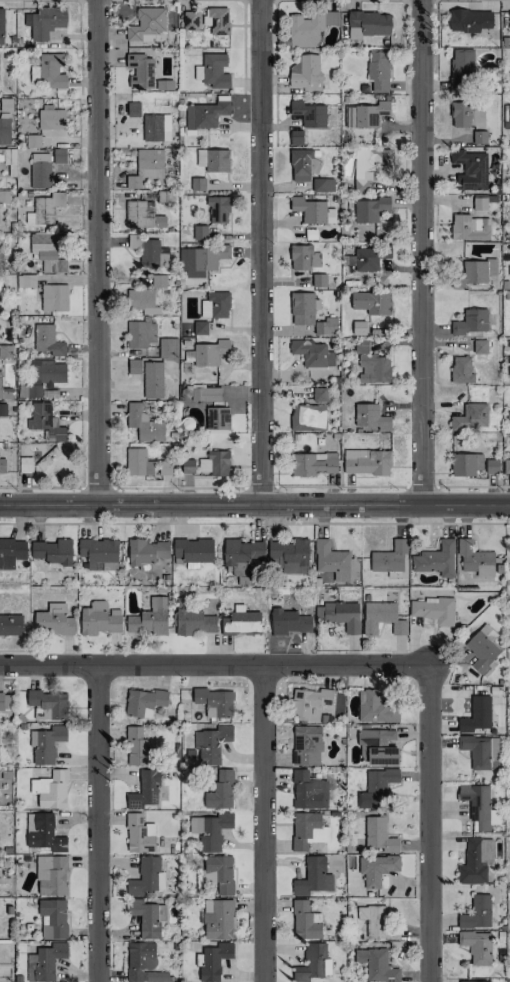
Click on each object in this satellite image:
road: (435, 3)
building: (190, 20)
building: (217, 20)
building: (470, 20)
building: (509, 20)
building: (45, 21)
building: (147, 24)
building: (368, 24)
building: (1, 26)
building: (309, 28)
building: (140, 70)
building: (379, 70)
building: (461, 70)
building: (51, 71)
building: (212, 71)
building: (305, 72)
building: (164, 84)
building: (6, 105)
building: (133, 109)
building: (206, 113)
building: (309, 113)
building: (368, 113)
building: (459, 113)
building: (507, 116)
building: (51, 119)
building: (156, 127)
building: (4, 130)
building: (296, 137)
building: (479, 137)
building: (33, 141)
building: (59, 155)
building: (213, 160)
building: (303, 164)
building: (146, 167)
building: (369, 167)
building: (470, 169)
building: (40, 170)
building: (198, 184)
building: (323, 185)
building: (5, 196)
building: (479, 202)
building: (44, 208)
building: (218, 209)
building: (369, 209)
building: (312, 210)
building: (142, 214)
building: (469, 227)
building: (199, 232)
road: (419, 251)
building: (47, 252)
road: (97, 252)
road: (255, 252)
building: (151, 254)
building: (210, 257)
building: (369, 258)
building: (303, 259)
building: (509, 268)
building: (478, 270)
building: (25, 280)
building: (319, 280)
building: (157, 281)
building: (54, 297)
building: (140, 301)
building: (371, 302)
building: (215, 305)
building: (309, 314)
building: (470, 322)
building: (358, 327)
building: (200, 328)
building: (140, 334)
building: (47, 339)
building: (480, 346)
building: (168, 347)
building: (5, 351)
building: (209, 352)
building: (312, 353)
building: (372, 365)
building: (134, 366)
building: (508, 368)
building: (461, 369)
building: (44, 375)
building: (153, 380)
building: (22, 390)
building: (205, 393)
building: (319, 394)
building: (508, 415)
building: (370, 416)
building: (471, 416)
building: (308, 417)
building: (217, 419)
building: (45, 421)
building: (143, 423)
building: (51, 462)
building: (366, 462)
building: (144, 463)
building: (219, 463)
building: (313, 463)
building: (25, 464)
building: (472, 464)
building: (204, 465)
building: (2, 466)
building: (506, 466)
building: (187, 467)
road: (260, 486)
road: (341, 486)
road: (422, 486)
road: (474, 486)
road: (41, 487)
road: (98, 487)
road: (179, 487)
road: (255, 504)
road: (255, 523)
building: (147, 550)
building: (192, 550)
building: (52, 551)
building: (11, 552)
building: (99, 554)
building: (240, 555)
building: (289, 555)
building: (390, 559)
building: (435, 559)
building: (475, 559)
building: (331, 560)
building: (433, 611)
building: (343, 615)
building: (99, 618)
building: (149, 618)
building: (381, 618)
building: (54, 620)
building: (195, 622)
building: (241, 622)
building: (289, 622)
building: (11, 624)
building: (483, 649)
road: (214, 666)
building: (5, 700)
building: (48, 702)
building: (143, 702)
building: (214, 702)
building: (309, 703)
building: (375, 708)
building: (476, 715)
building: (211, 743)
building: (46, 744)
building: (306, 744)
building: (377, 746)
building: (137, 747)
building: (481, 751)
building: (376, 788)
building: (51, 790)
building: (145, 790)
building: (220, 790)
building: (308, 791)
building: (479, 806)
road: (96, 824)
road: (261, 824)
road: (429, 824)
building: (210, 830)
building: (307, 830)
building: (43, 832)
building: (139, 834)
building: (378, 835)
building: (509, 850)
building: (475, 860)
building: (377, 868)
building: (219, 874)
building: (51, 875)
building: (146, 877)
building: (313, 877)
building: (477, 912)
building: (147, 917)
building: (53, 918)
building: (218, 919)
building: (305, 921)
building: (375, 922)
building: (476, 946)
building: (214, 960)
building: (44, 961)
building: (141, 962)
building: (313, 964)
building: (376, 965)
building: (475, 981)

